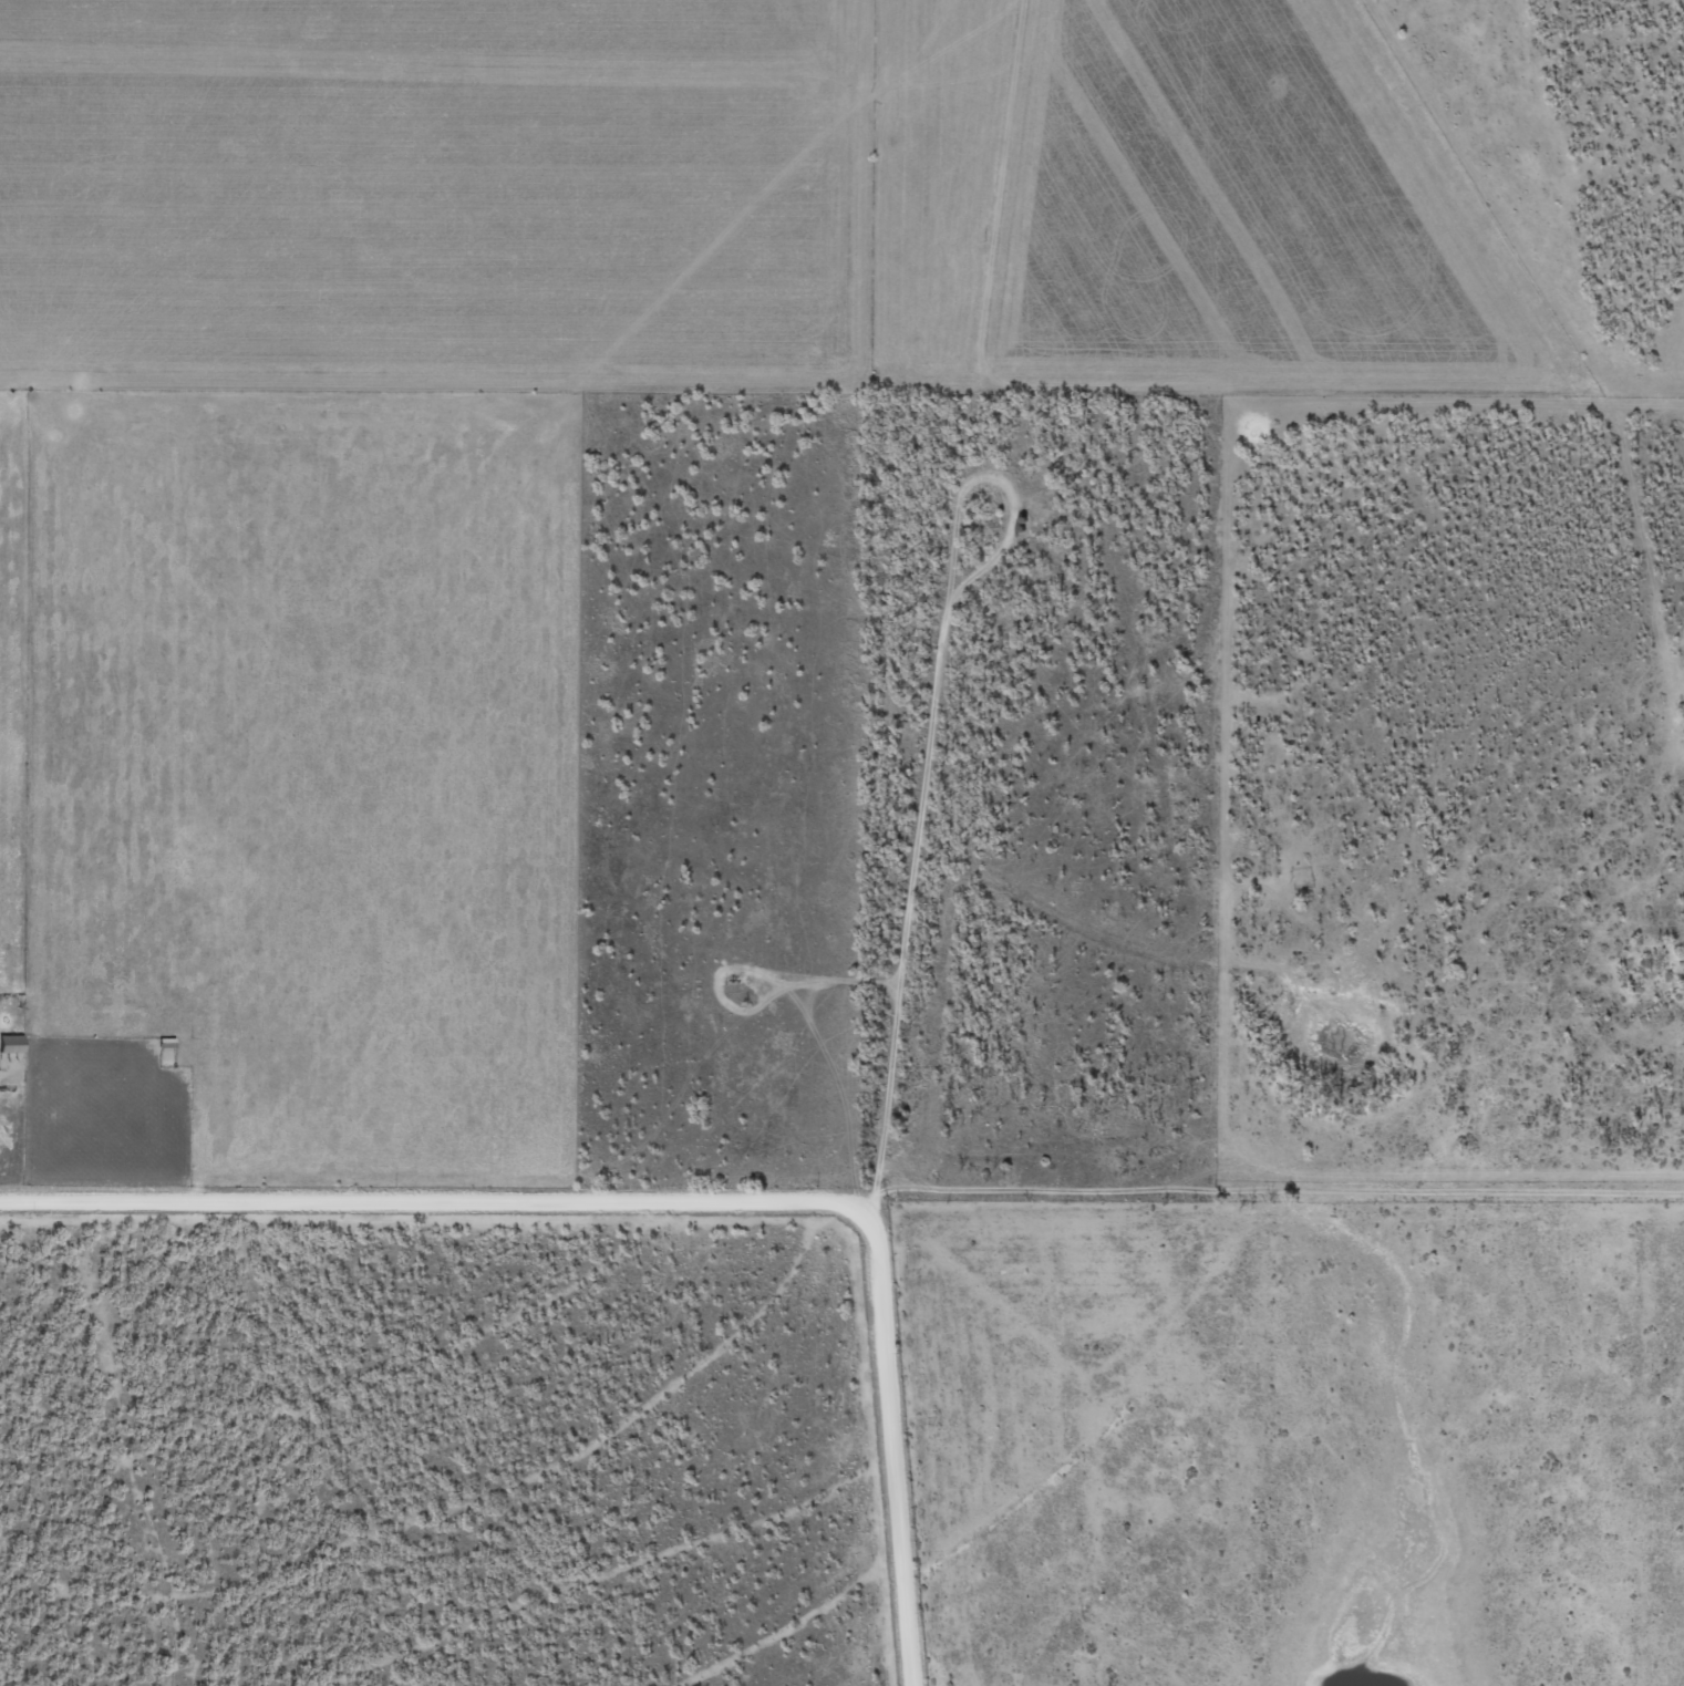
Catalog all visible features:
road: (990, 247)
road: (923, 877)
building: (12, 1043)
road: (654, 1223)

